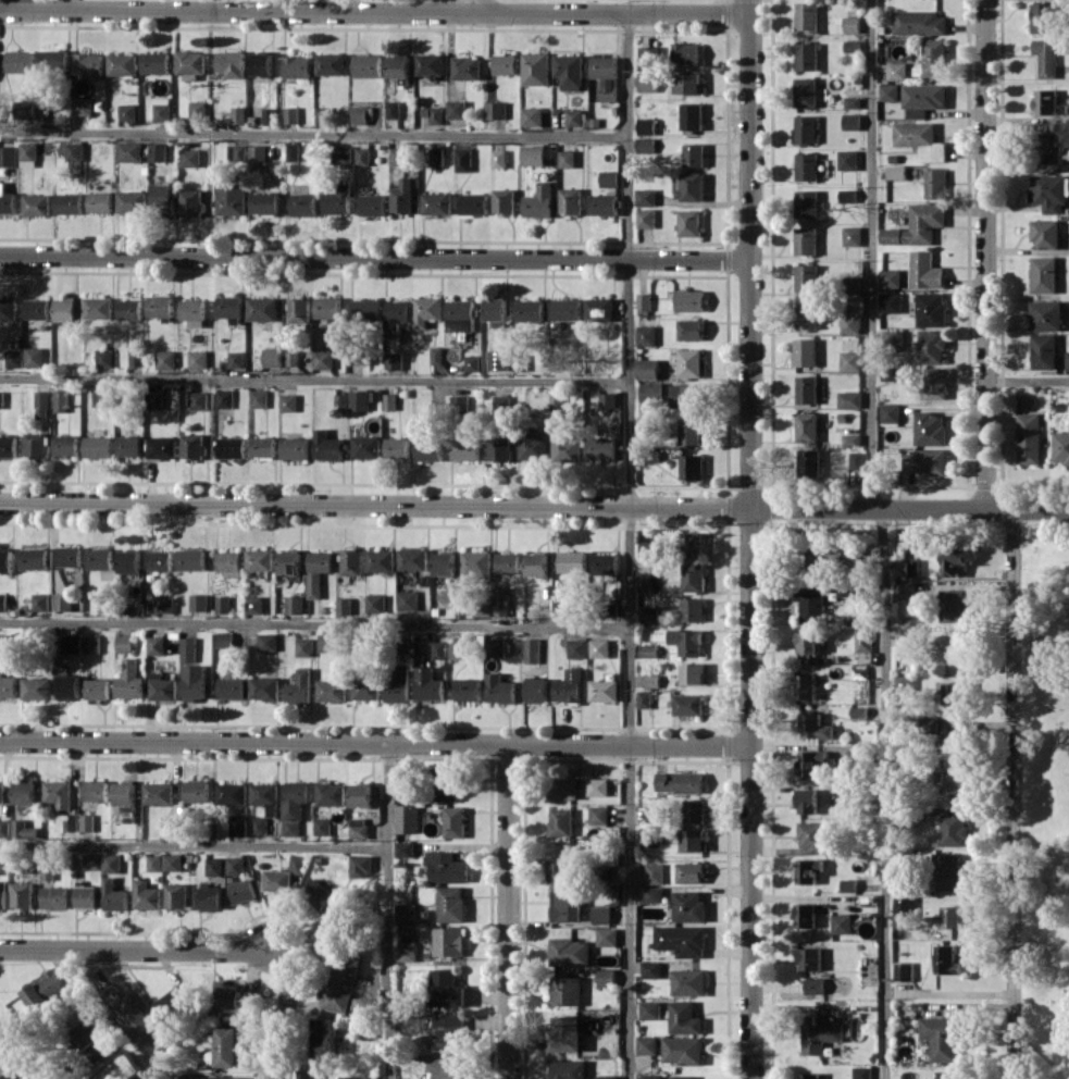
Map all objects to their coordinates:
road: (21, 3)
road: (455, 5)
road: (475, 5)
road: (374, 10)
building: (806, 15)
building: (1044, 17)
building: (919, 22)
building: (850, 24)
building: (686, 53)
building: (648, 55)
building: (806, 55)
building: (934, 57)
building: (1046, 57)
building: (54, 60)
building: (21, 61)
building: (156, 62)
building: (89, 63)
building: (231, 63)
building: (261, 63)
building: (331, 63)
building: (505, 63)
building: (122, 64)
building: (190, 64)
building: (430, 64)
building: (368, 65)
building: (297, 66)
building: (398, 66)
building: (467, 67)
building: (535, 69)
building: (569, 71)
building: (897, 71)
building: (605, 76)
building: (647, 80)
building: (688, 83)
building: (805, 91)
building: (888, 91)
building: (923, 98)
building: (48, 101)
building: (1044, 101)
building: (82, 106)
building: (161, 109)
building: (391, 109)
building: (456, 109)
building: (197, 110)
building: (495, 110)
building: (127, 112)
building: (433, 113)
building: (238, 114)
building: (290, 114)
building: (359, 114)
building: (692, 115)
building: (531, 116)
building: (573, 117)
building: (850, 121)
building: (646, 125)
building: (804, 128)
road: (313, 133)
building: (920, 139)
building: (647, 146)
building: (1049, 147)
building: (74, 151)
building: (128, 151)
building: (157, 151)
building: (293, 151)
building: (237, 152)
building: (257, 152)
building: (27, 153)
building: (341, 153)
building: (533, 154)
building: (694, 154)
building: (8, 156)
building: (362, 156)
building: (396, 156)
building: (436, 156)
building: (189, 158)
building: (498, 158)
building: (565, 158)
building: (847, 159)
building: (462, 160)
building: (806, 165)
building: (895, 172)
building: (609, 178)
building: (935, 183)
building: (692, 186)
building: (1049, 191)
building: (847, 195)
building: (163, 197)
building: (402, 197)
building: (645, 197)
building: (231, 199)
building: (7, 200)
building: (338, 200)
building: (504, 200)
building: (570, 200)
building: (100, 201)
building: (132, 201)
building: (191, 201)
building: (538, 201)
building: (69, 202)
building: (436, 202)
building: (806, 202)
building: (304, 203)
building: (474, 203)
building: (36, 204)
building: (373, 204)
building: (604, 204)
building: (645, 218)
building: (689, 222)
building: (917, 225)
building: (1045, 234)
building: (852, 235)
building: (805, 239)
road: (871, 253)
road: (986, 255)
road: (374, 257)
building: (924, 270)
building: (1044, 274)
building: (806, 277)
building: (890, 277)
building: (689, 300)
building: (890, 301)
building: (643, 303)
building: (160, 306)
building: (229, 306)
building: (327, 307)
building: (37, 308)
building: (98, 308)
building: (262, 308)
building: (8, 309)
building: (129, 309)
building: (565, 309)
building: (599, 309)
building: (931, 309)
building: (65, 310)
building: (299, 310)
building: (365, 310)
building: (398, 310)
building: (426, 310)
building: (530, 310)
building: (496, 311)
building: (194, 312)
building: (462, 312)
building: (806, 314)
building: (1045, 314)
building: (850, 323)
building: (691, 328)
building: (645, 335)
building: (894, 337)
building: (932, 346)
building: (1044, 350)
building: (804, 352)
building: (33, 356)
building: (436, 356)
building: (104, 357)
building: (135, 357)
building: (272, 357)
building: (291, 357)
building: (13, 358)
building: (165, 359)
building: (197, 359)
building: (236, 359)
building: (323, 359)
building: (499, 359)
building: (394, 360)
building: (849, 360)
building: (1067, 360)
building: (472, 362)
building: (689, 362)
building: (647, 368)
building: (893, 373)
road: (314, 379)
road: (1028, 380)
building: (935, 383)
building: (807, 389)
building: (650, 392)
building: (685, 395)
building: (103, 397)
building: (224, 398)
building: (259, 398)
building: (362, 398)
building: (1, 399)
building: (198, 399)
building: (849, 399)
building: (60, 400)
building: (556, 400)
building: (607, 400)
building: (287, 402)
building: (41, 404)
building: (500, 406)
building: (890, 412)
building: (806, 426)
building: (930, 427)
building: (689, 431)
building: (852, 438)
building: (1028, 438)
building: (532, 444)
building: (65, 445)
building: (128, 445)
building: (192, 445)
building: (565, 445)
building: (8, 446)
building: (97, 446)
building: (162, 446)
building: (263, 446)
building: (326, 446)
building: (366, 446)
building: (36, 447)
building: (232, 447)
building: (1061, 447)
building: (295, 448)
building: (397, 448)
building: (428, 448)
building: (500, 448)
building: (600, 448)
building: (464, 449)
building: (925, 460)
building: (808, 461)
building: (692, 467)
building: (856, 467)
road: (534, 505)
road: (750, 538)
building: (693, 544)
road: (630, 545)
building: (647, 549)
building: (845, 555)
building: (70, 556)
building: (34, 558)
building: (99, 558)
building: (413, 558)
building: (817, 558)
building: (160, 559)
building: (191, 559)
building: (260, 559)
building: (5, 560)
building: (381, 560)
building: (129, 561)
building: (289, 561)
building: (572, 561)
building: (229, 562)
building: (351, 562)
building: (508, 562)
building: (953, 562)
building: (444, 563)
building: (536, 563)
building: (605, 563)
building: (476, 566)
building: (906, 567)
building: (318, 571)
building: (694, 576)
building: (644, 583)
building: (848, 590)
building: (904, 591)
building: (500, 600)
building: (2, 601)
building: (39, 601)
building: (62, 601)
building: (198, 601)
building: (375, 603)
building: (407, 603)
building: (811, 603)
building: (163, 604)
building: (222, 604)
building: (254, 604)
building: (295, 604)
building: (953, 605)
building: (344, 606)
building: (482, 609)
building: (693, 609)
building: (648, 613)
road: (314, 623)
building: (910, 636)
building: (224, 640)
building: (863, 640)
building: (268, 641)
building: (687, 641)
building: (325, 642)
building: (806, 642)
building: (2, 643)
building: (123, 643)
building: (71, 644)
building: (91, 644)
building: (156, 645)
building: (954, 645)
building: (303, 647)
building: (496, 647)
building: (599, 647)
building: (188, 648)
building: (576, 648)
building: (438, 649)
building: (457, 649)
building: (532, 650)
building: (648, 650)
building: (858, 671)
building: (693, 672)
building: (129, 680)
building: (650, 680)
building: (195, 682)
building: (905, 682)
building: (398, 683)
building: (428, 684)
building: (8, 685)
building: (69, 685)
building: (569, 685)
building: (162, 686)
building: (805, 686)
building: (36, 687)
building: (232, 687)
building: (264, 687)
building: (299, 687)
building: (97, 689)
building: (365, 689)
building: (469, 689)
building: (500, 689)
building: (537, 689)
building: (331, 690)
building: (604, 690)
building: (954, 693)
building: (644, 698)
building: (687, 704)
building: (813, 727)
building: (955, 739)
road: (375, 742)
building: (860, 752)
building: (811, 762)
building: (679, 781)
building: (954, 782)
building: (447, 783)
building: (597, 786)
building: (563, 787)
building: (96, 790)
building: (1, 791)
building: (196, 791)
building: (24, 792)
building: (58, 792)
building: (843, 792)
building: (158, 793)
building: (232, 793)
building: (331, 793)
road: (884, 793)
building: (124, 794)
road: (1012, 794)
building: (361, 795)
building: (266, 796)
park: (1044, 799)
building: (807, 801)
building: (294, 805)
building: (694, 810)
building: (652, 814)
building: (598, 815)
building: (408, 818)
building: (455, 821)
building: (561, 821)
building: (66, 822)
building: (86, 822)
building: (237, 824)
building: (259, 824)
building: (322, 826)
building: (4, 827)
building: (358, 828)
building: (23, 829)
building: (954, 830)
building: (811, 833)
building: (647, 835)
building: (693, 839)
road: (194, 846)
building: (405, 848)
building: (91, 860)
building: (172, 861)
building: (111, 863)
building: (153, 863)
building: (297, 864)
building: (235, 865)
building: (360, 866)
building: (214, 867)
building: (446, 867)
building: (808, 869)
building: (559, 870)
building: (47, 871)
building: (689, 871)
building: (654, 872)
building: (948, 872)
building: (277, 881)
building: (848, 884)
building: (243, 891)
building: (316, 893)
building: (654, 893)
building: (3, 894)
building: (146, 894)
building: (176, 894)
building: (22, 895)
building: (113, 895)
building: (86, 896)
building: (53, 897)
building: (211, 897)
building: (451, 904)
building: (567, 905)
building: (688, 906)
building: (904, 907)
road: (386, 910)
road: (509, 911)
building: (406, 913)
building: (601, 914)
building: (805, 915)
building: (954, 916)
building: (337, 919)
building: (841, 923)
building: (606, 937)
building: (682, 940)
building: (449, 941)
road: (134, 950)
building: (407, 951)
building: (570, 952)
building: (809, 958)
building: (947, 959)
building: (650, 969)
building: (904, 971)
building: (606, 977)
building: (688, 981)
building: (815, 985)
building: (45, 989)
building: (446, 989)
building: (346, 990)
building: (567, 990)
building: (226, 996)
building: (250, 997)
building: (173, 1003)
building: (650, 1009)
road: (284, 1010)
building: (133, 1014)
building: (684, 1018)
building: (90, 1031)
building: (449, 1031)
building: (565, 1033)
building: (818, 1034)
building: (943, 1035)
building: (325, 1037)
building: (647, 1044)
building: (228, 1046)
building: (682, 1050)
road: (11, 1064)
building: (446, 1067)
building: (122, 1068)
building: (567, 1069)
building: (861, 1072)
building: (308, 1074)
building: (946, 1075)
building: (650, 1076)
building: (809, 1076)
building: (213, 1077)
building: (355, 1077)
building: (607, 1077)
building: (682, 1077)

